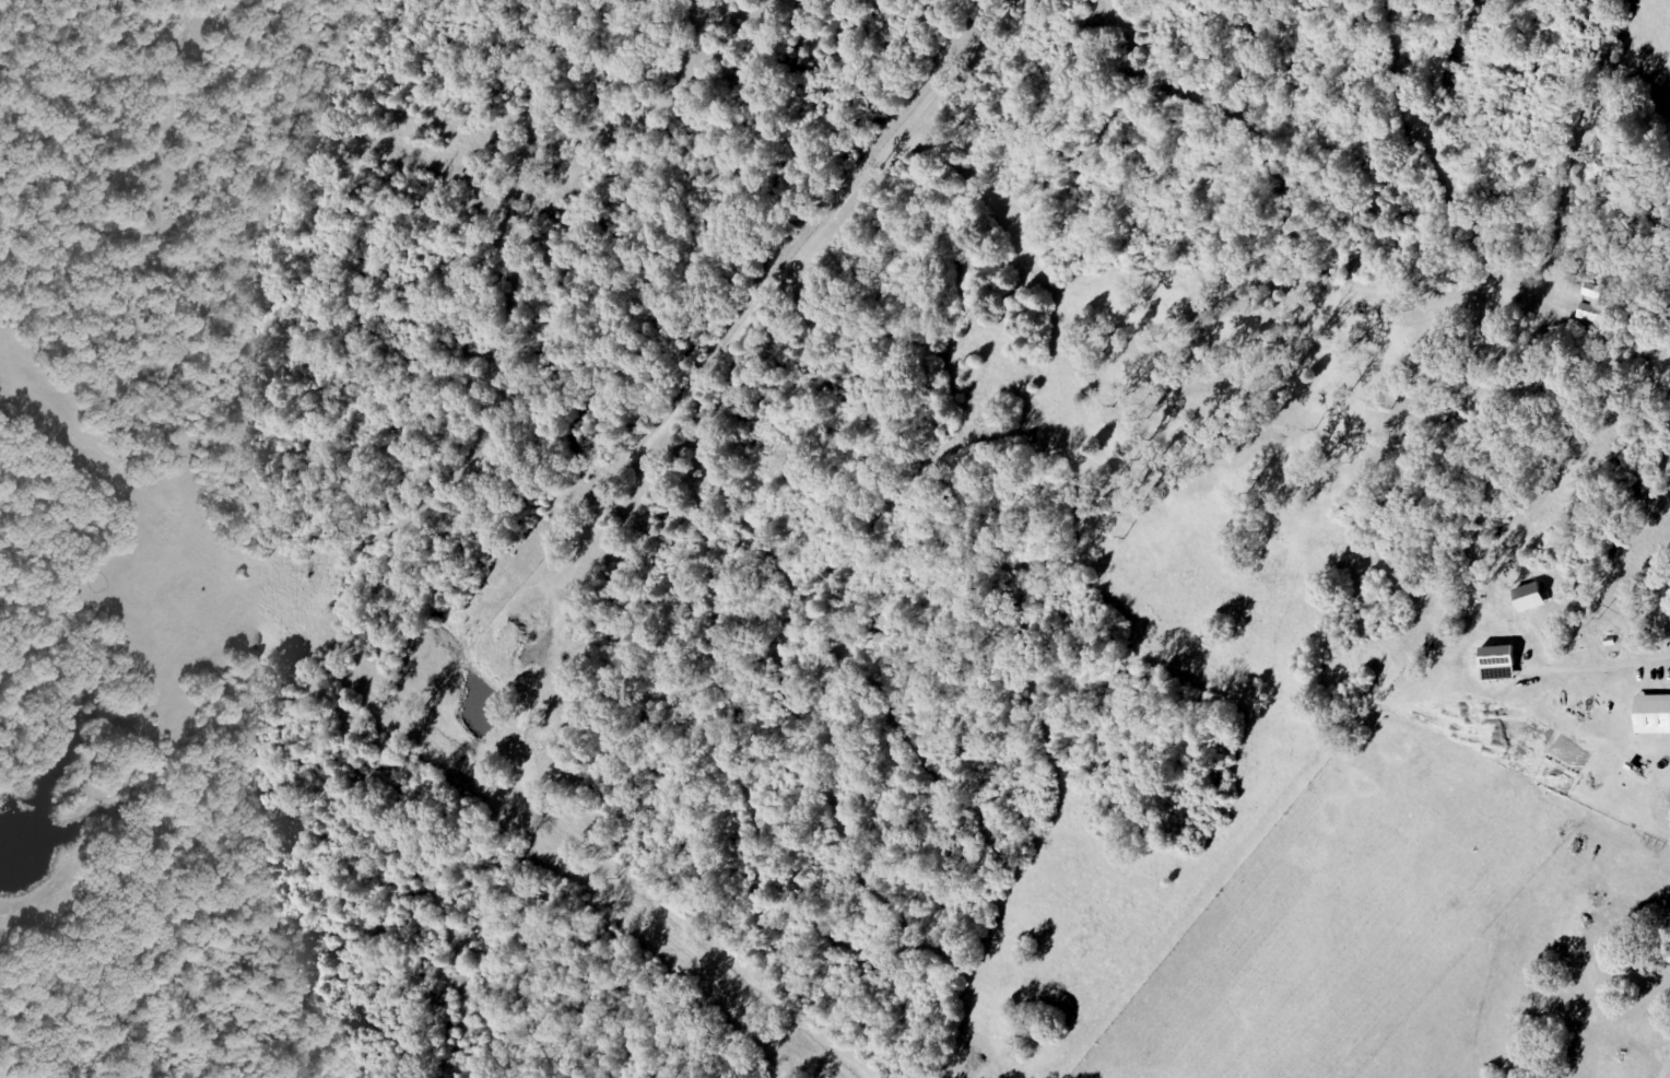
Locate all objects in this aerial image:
building: (1528, 599)
building: (1653, 716)

